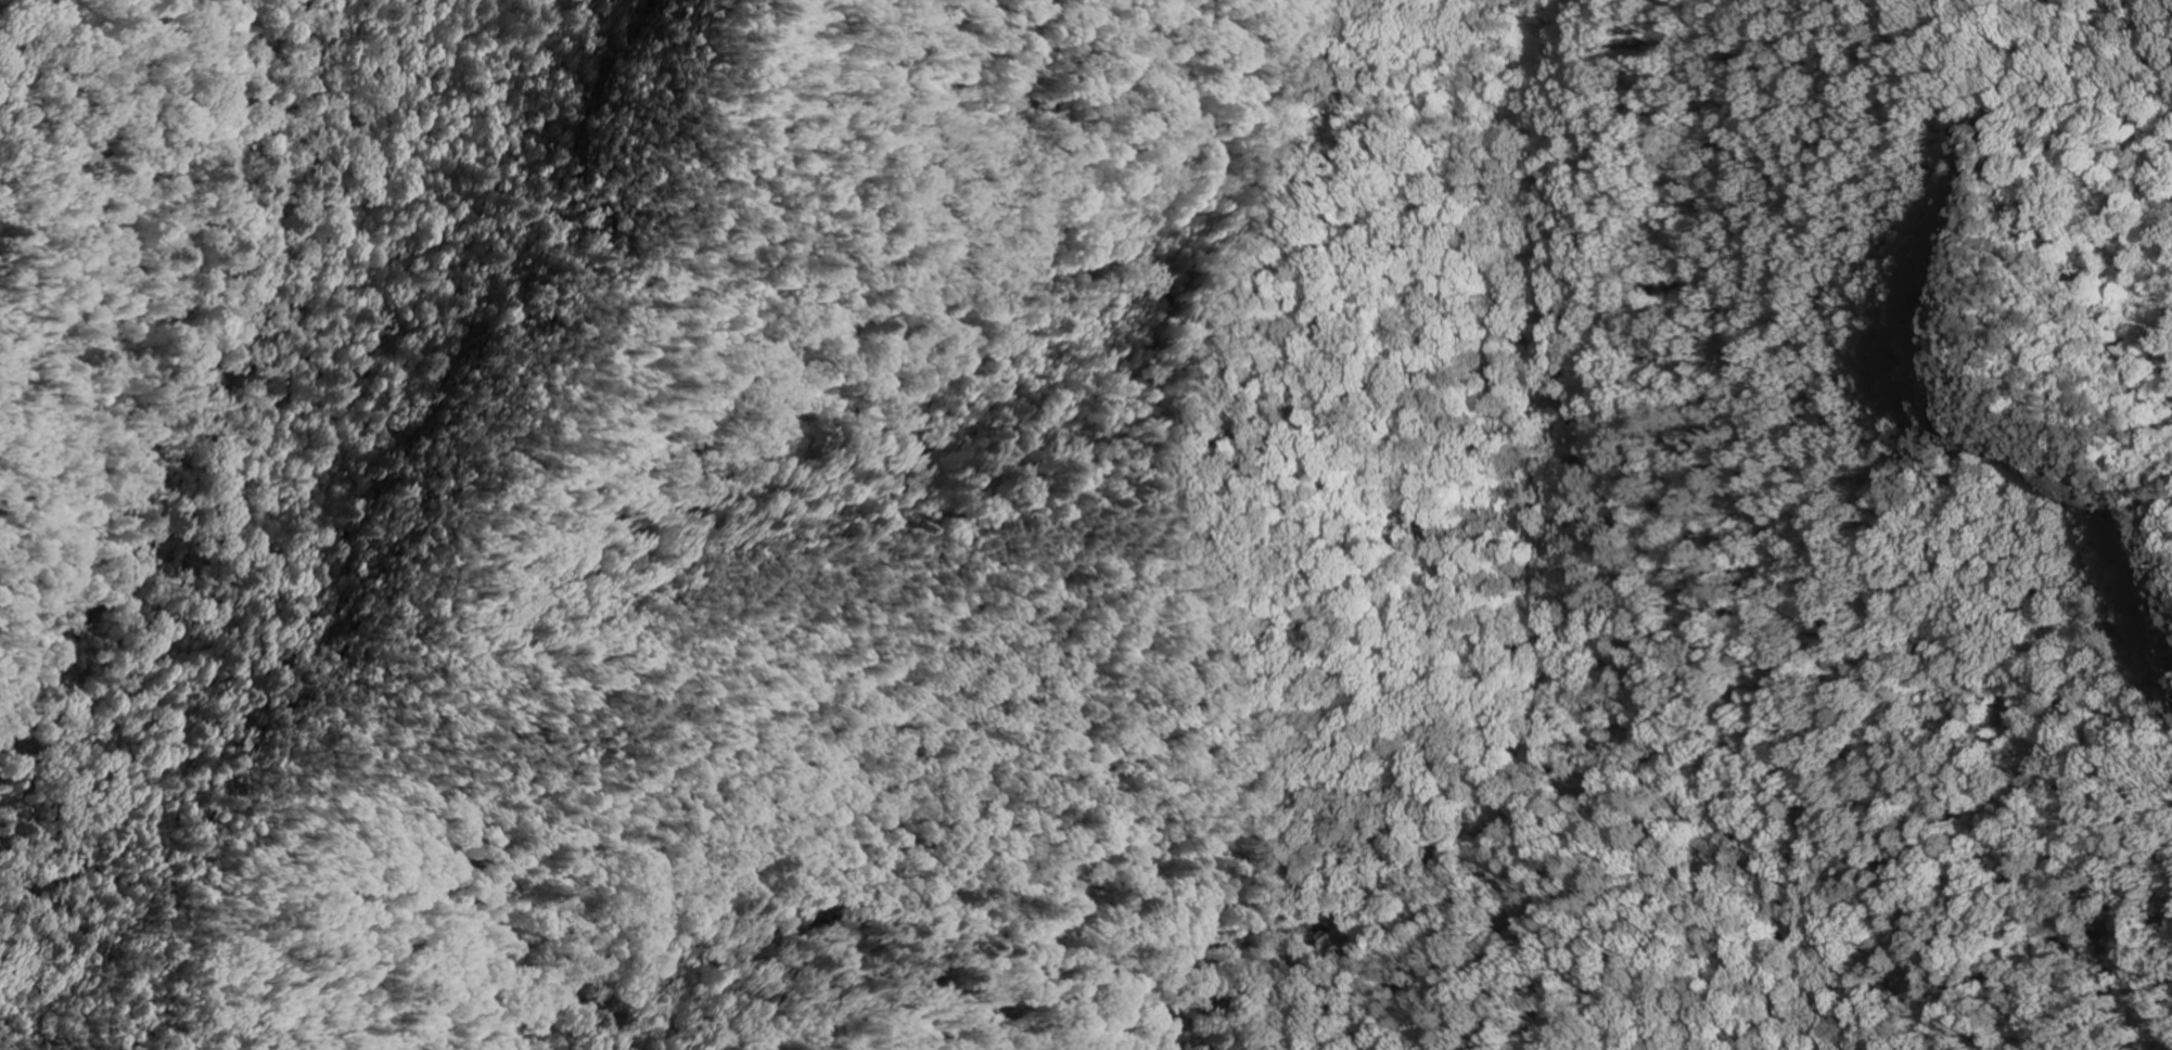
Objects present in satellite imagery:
road: (125, 1025)

